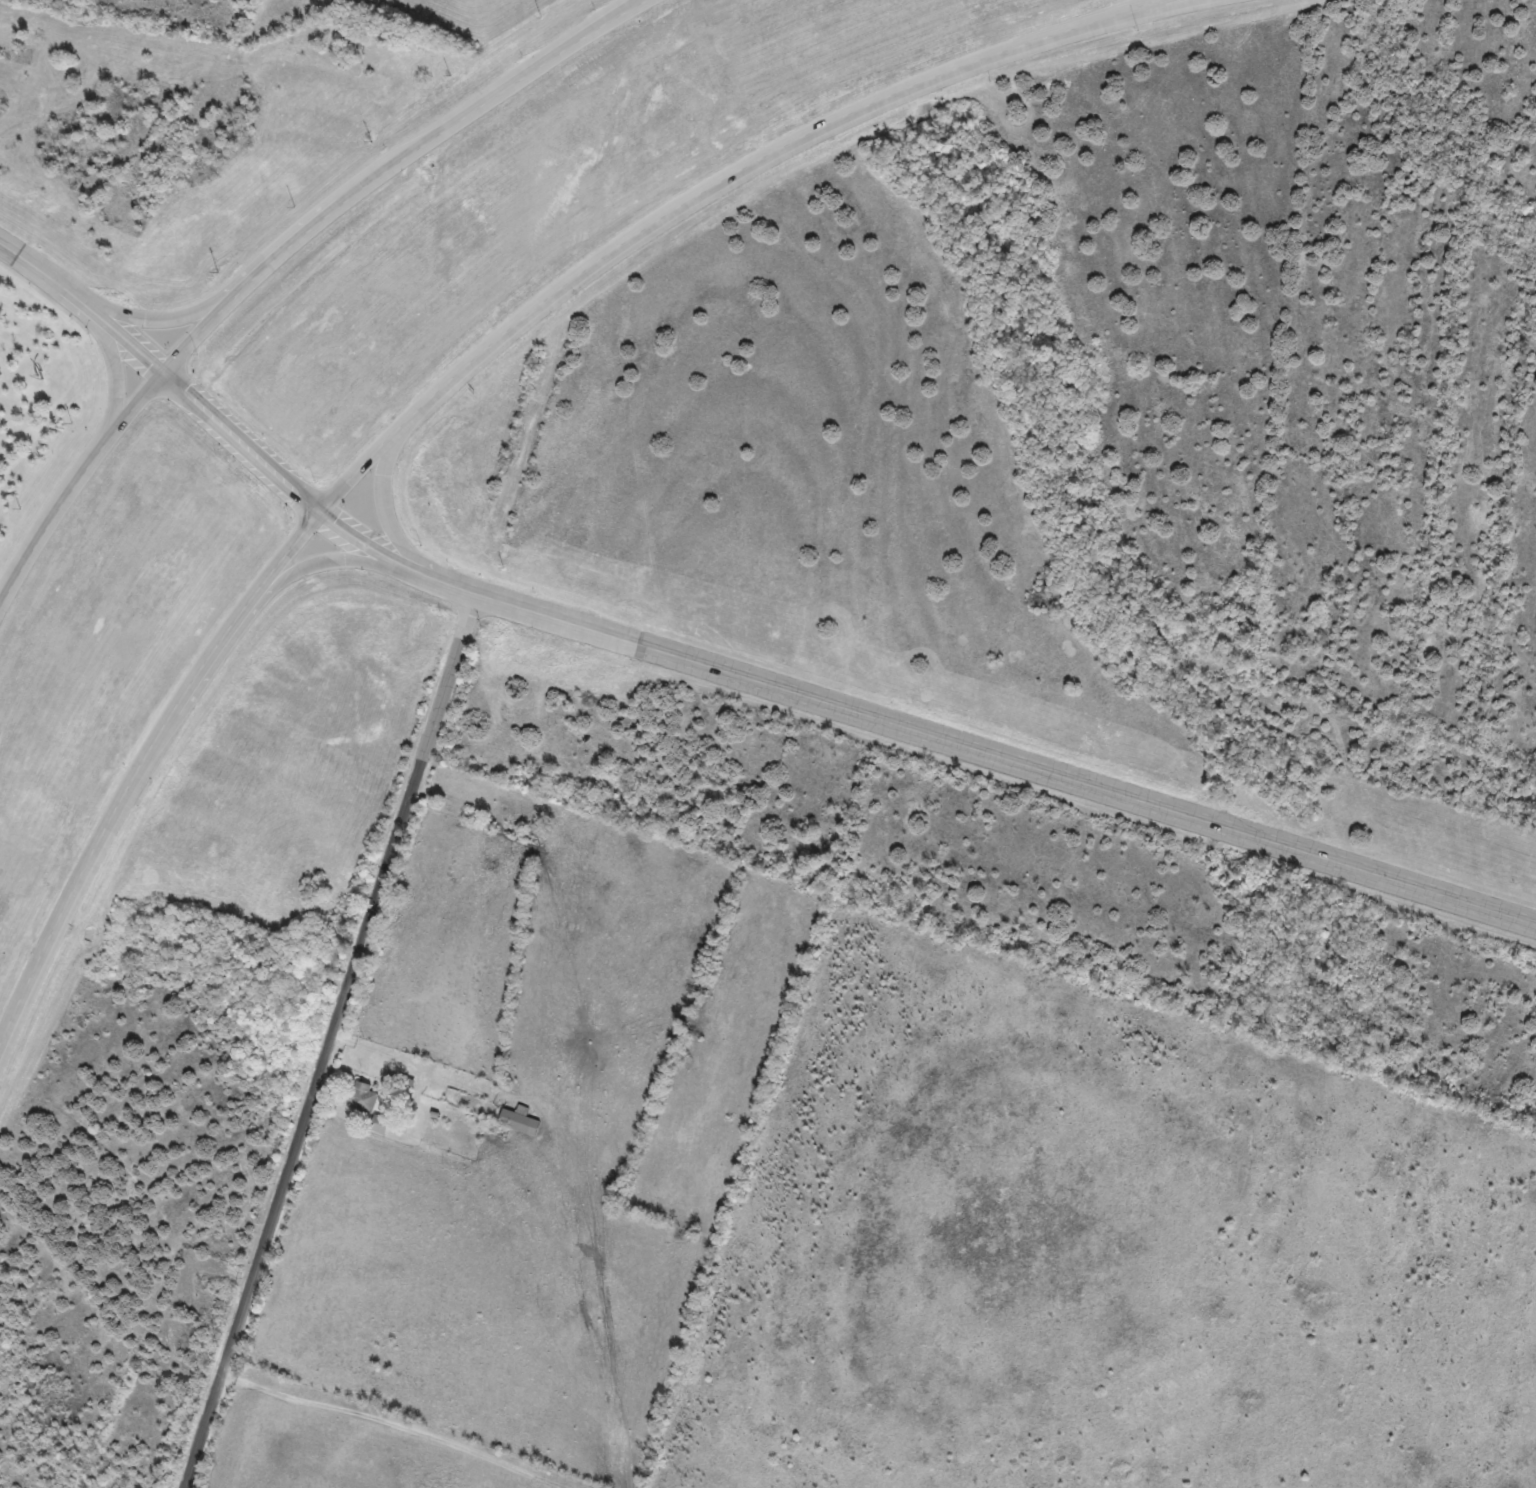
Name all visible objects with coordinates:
road: (1134, 5)
road: (1146, 5)
road: (385, 162)
road: (83, 308)
road: (167, 320)
road: (113, 371)
road: (435, 393)
road: (74, 480)
road: (383, 500)
road: (321, 563)
road: (820, 703)
road: (330, 1042)
building: (365, 1098)
building: (522, 1122)
building: (383, 1125)

